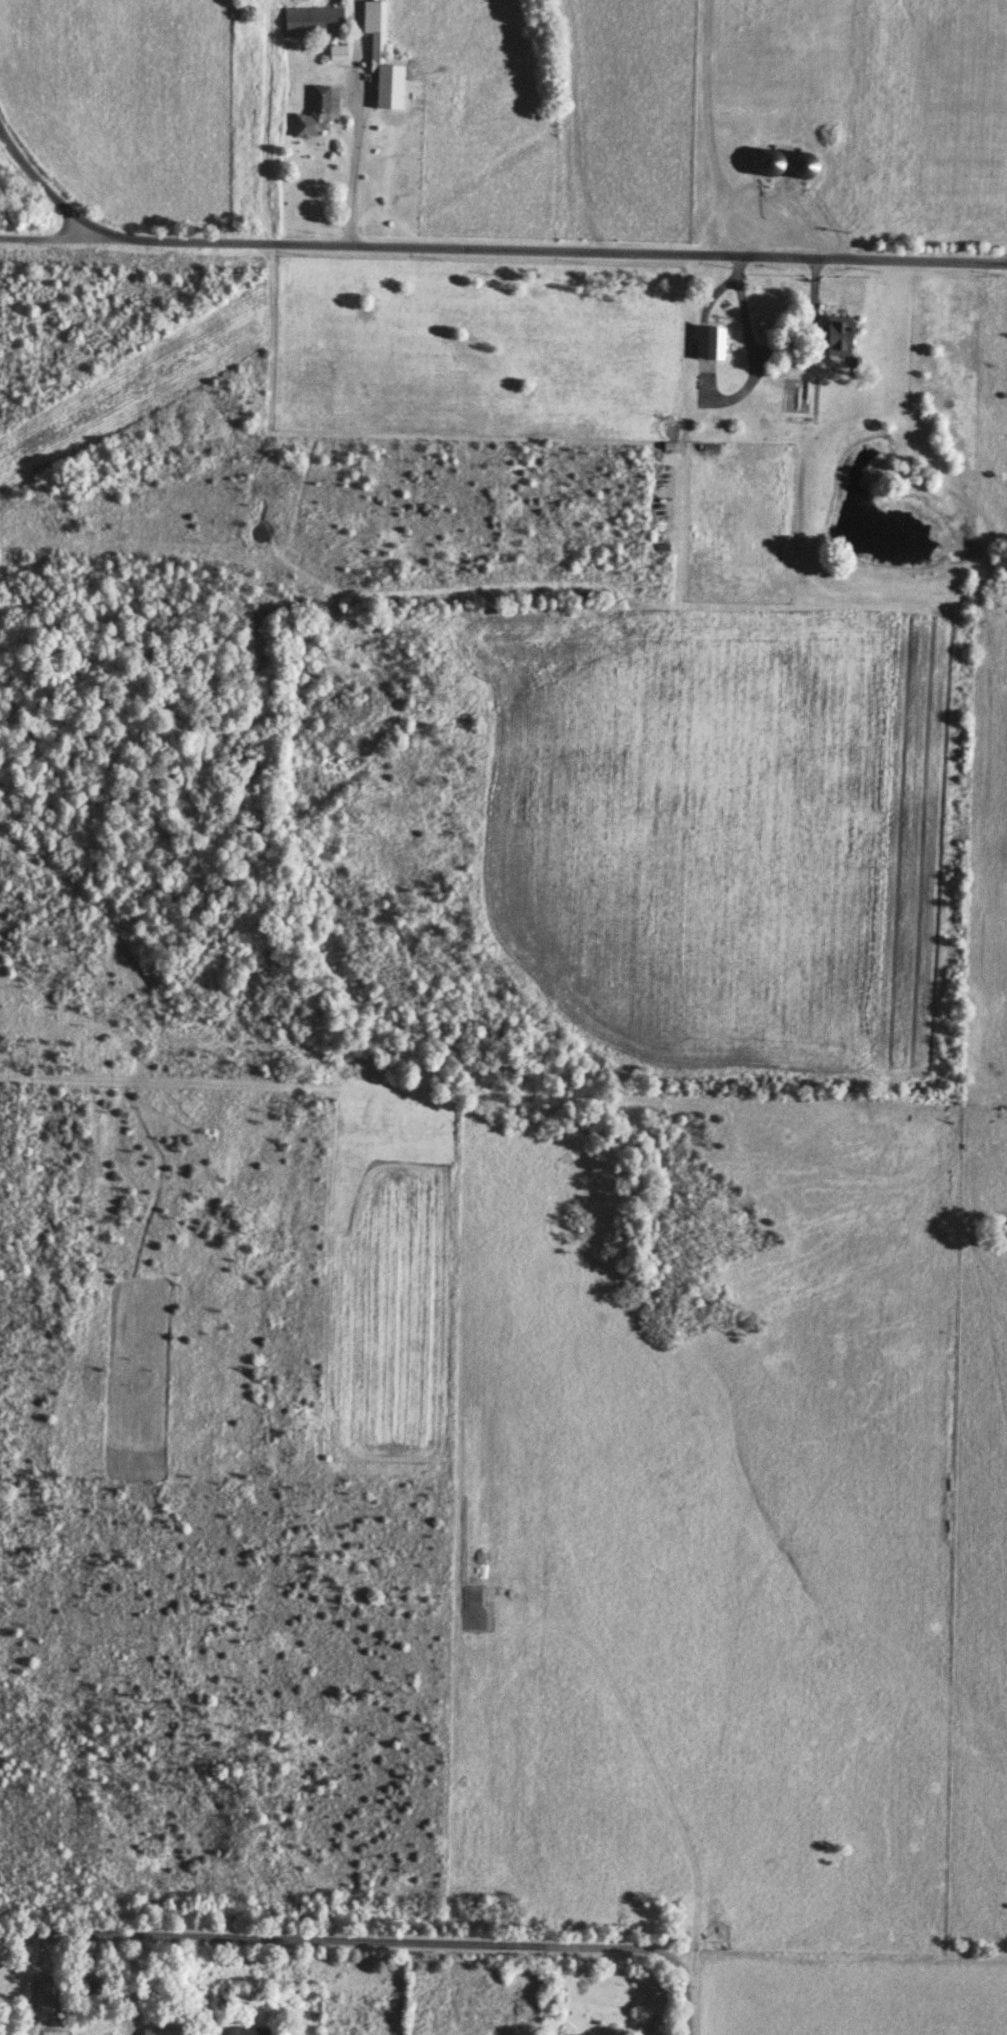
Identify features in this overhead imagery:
building: (317, 21)
building: (341, 52)
building: (387, 58)
building: (318, 115)
road: (576, 126)
road: (352, 174)
road: (51, 237)
road: (481, 249)
building: (841, 335)
building: (715, 341)
road: (378, 1941)
road: (134, 1985)
building: (92, 1990)
building: (653, 2027)
building: (250, 2030)
building: (164, 2031)
building: (595, 2034)

